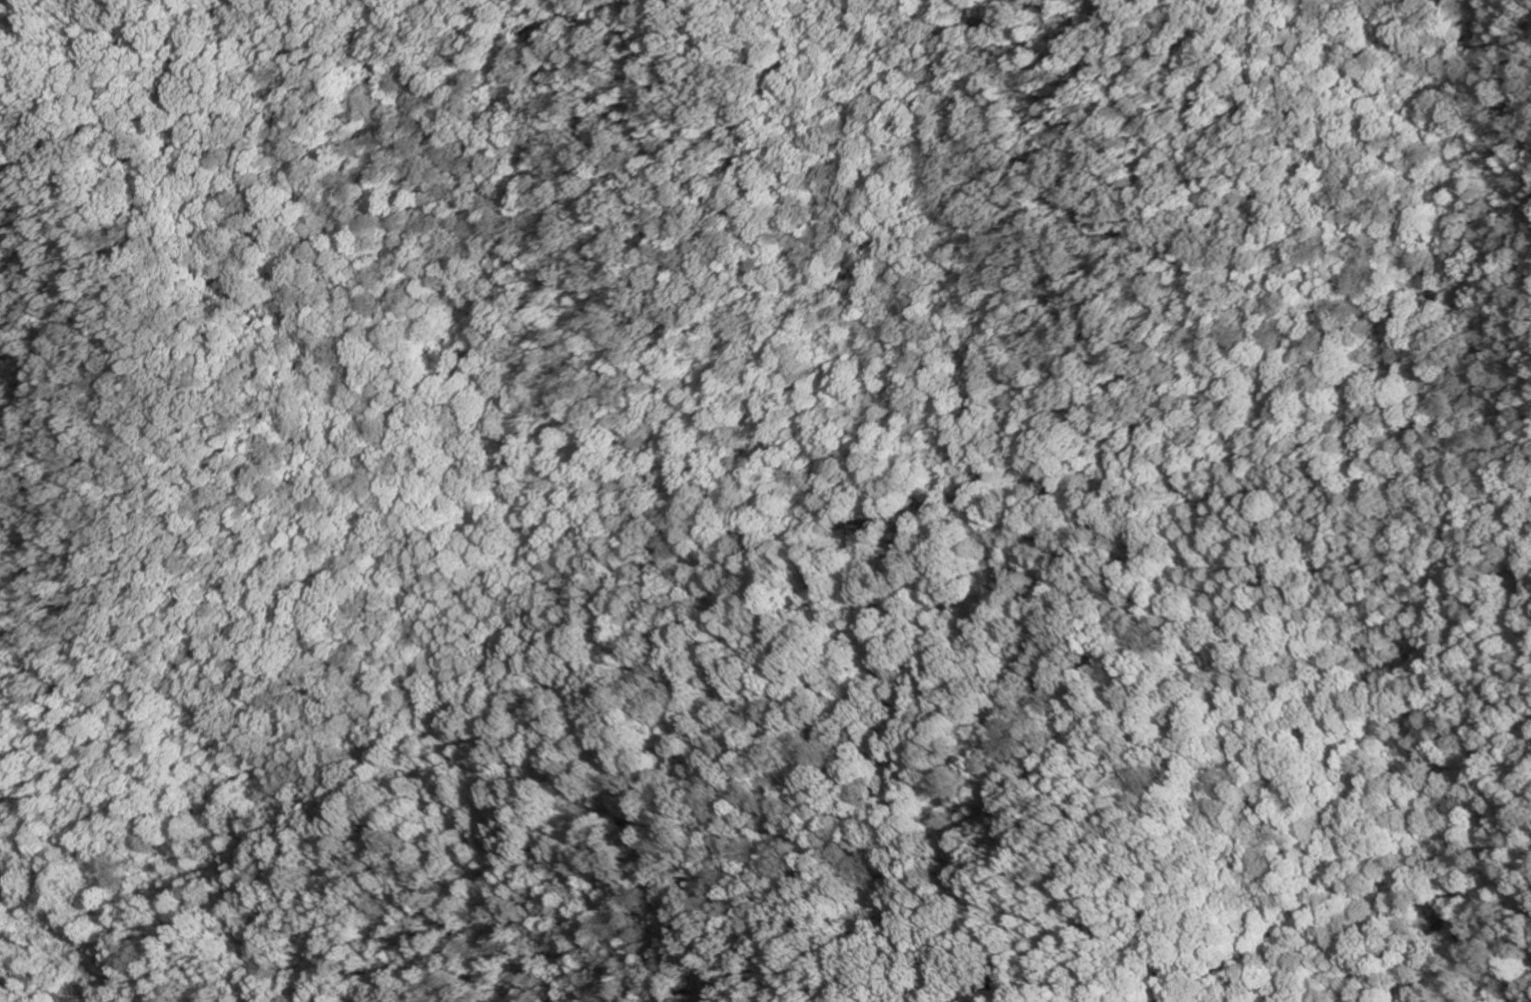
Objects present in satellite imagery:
road: (190, 870)

